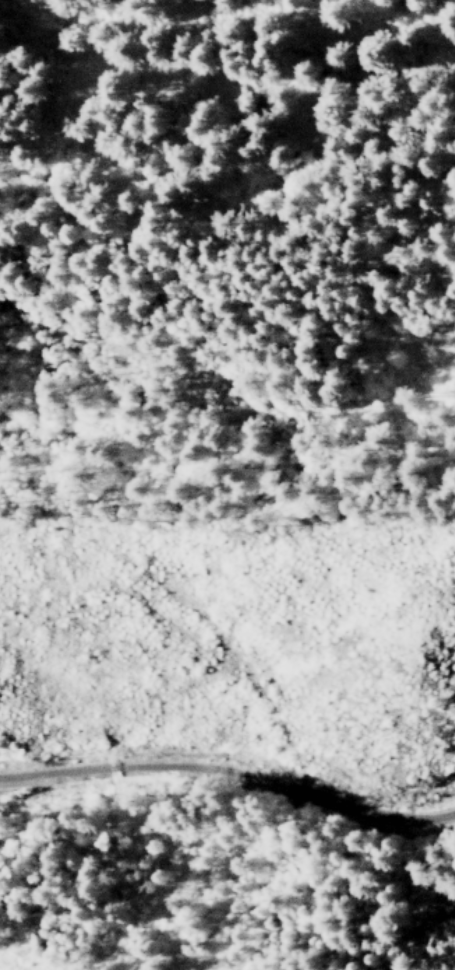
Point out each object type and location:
road: (231, 773)

